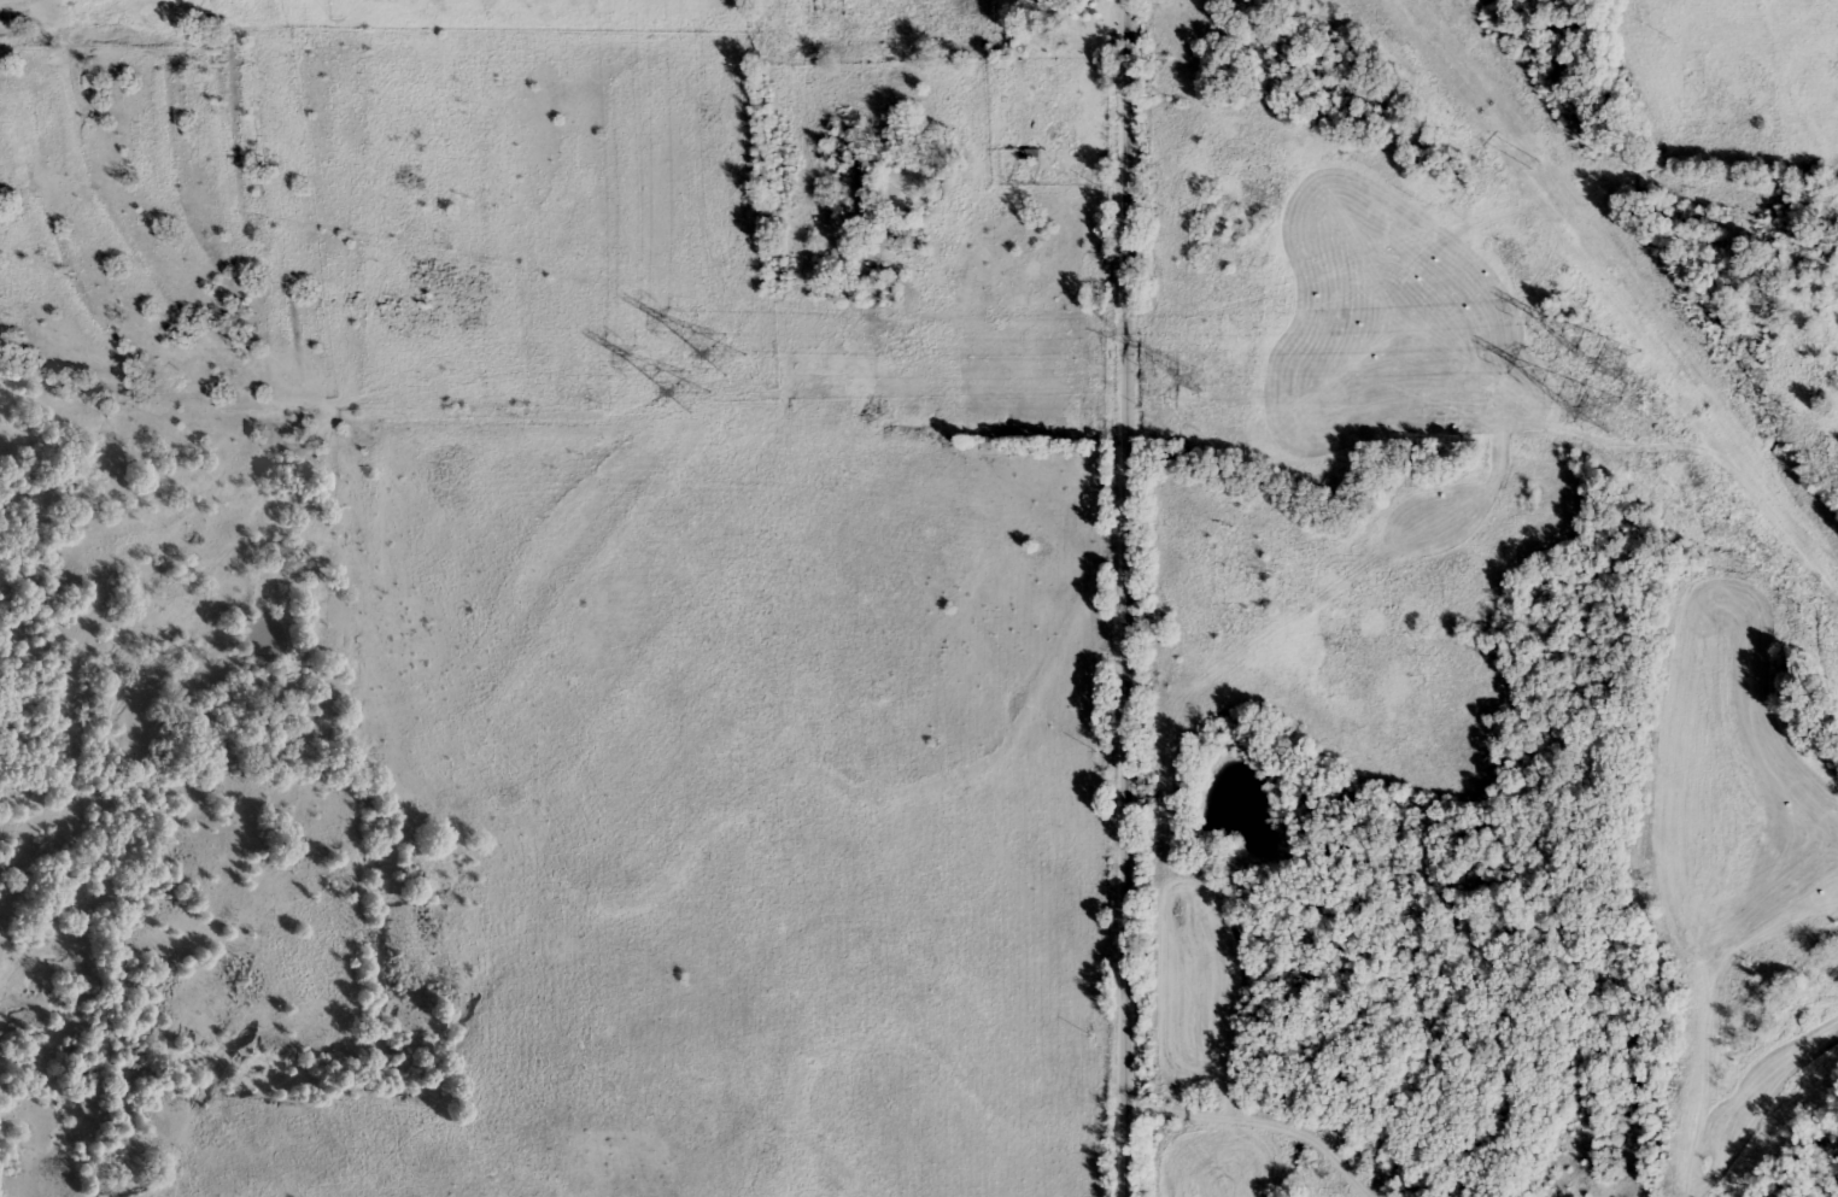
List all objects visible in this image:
power tower: (710, 375)
power tower: (1195, 380)
power tower: (1609, 388)
road: (1116, 598)

